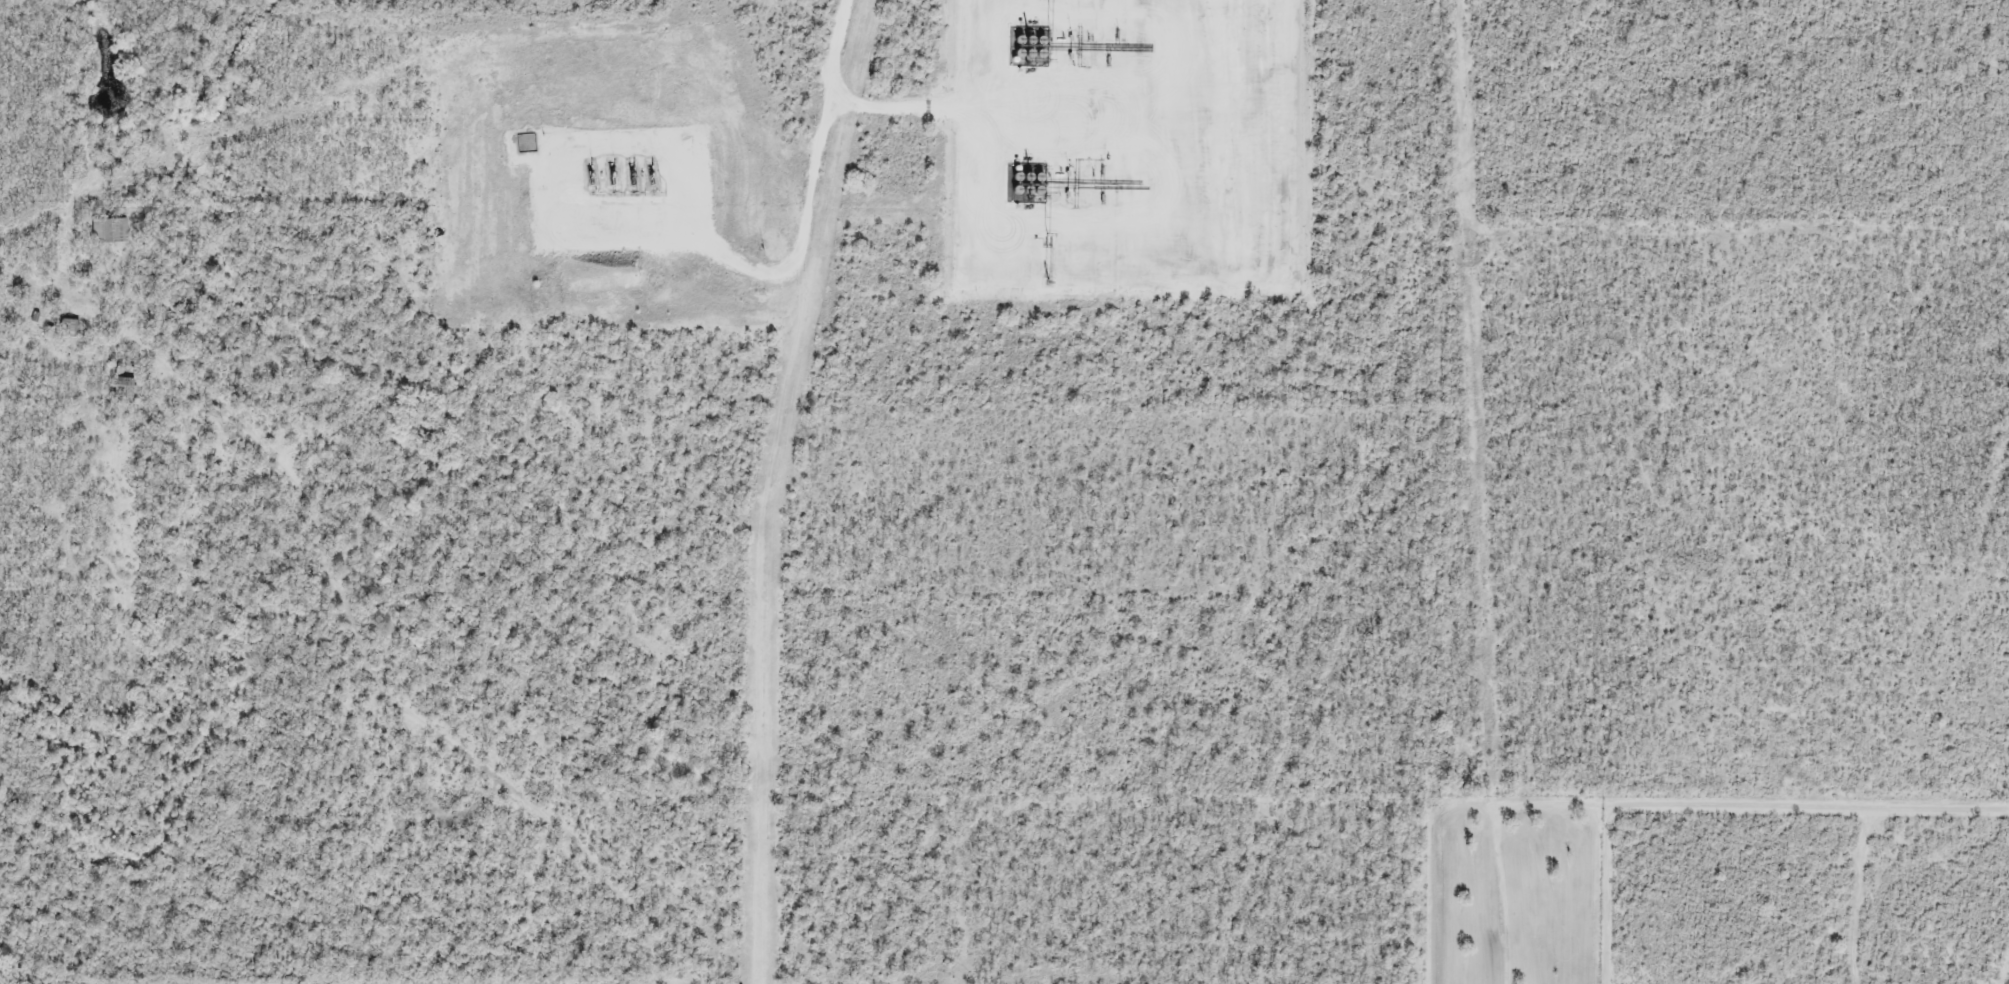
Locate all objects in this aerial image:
road: (1251, 20)
road: (1083, 110)
road: (841, 113)
building: (108, 232)
road: (732, 264)
road: (1034, 274)
building: (69, 329)

